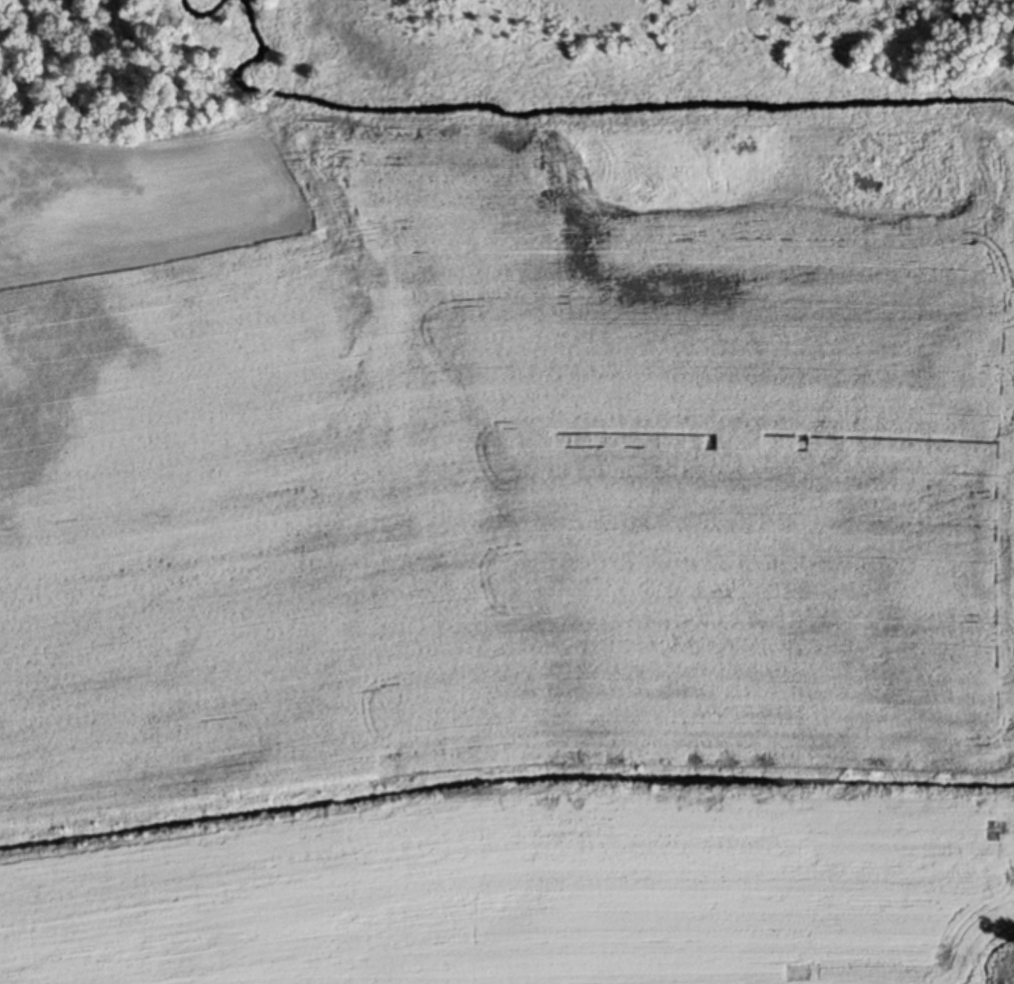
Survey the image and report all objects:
river: (554, 116)
road: (111, 144)

